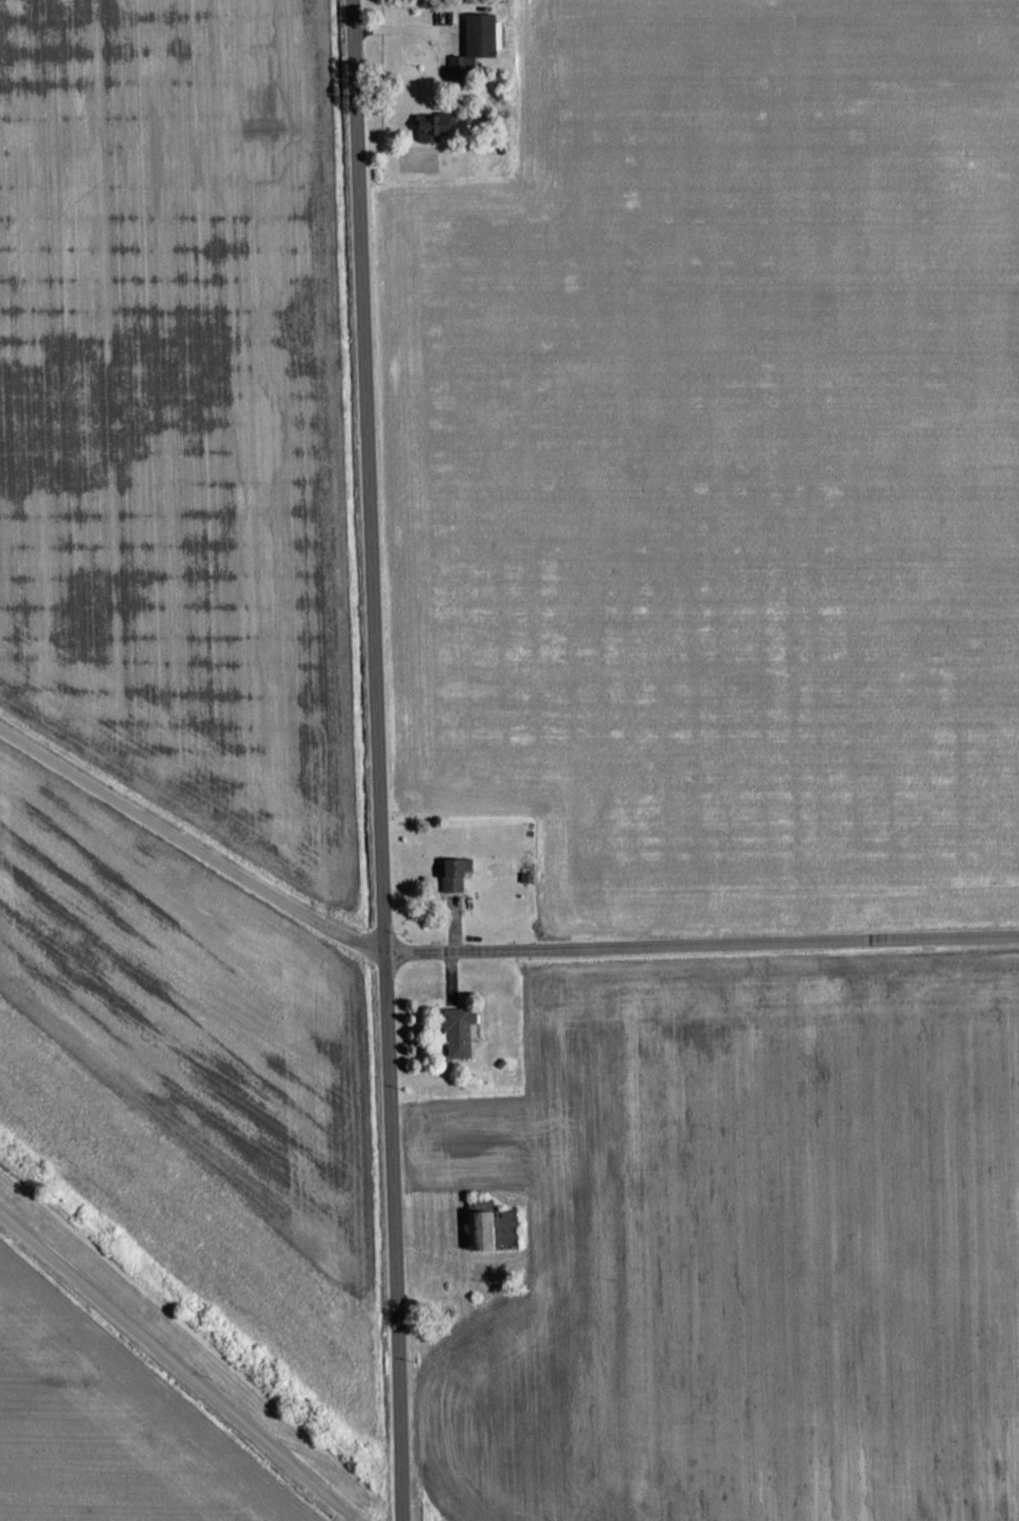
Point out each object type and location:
building: (476, 40)
building: (430, 126)
crop: (174, 409)
crop: (729, 457)
road: (381, 760)
building: (450, 874)
road: (479, 943)
building: (454, 1032)
crop: (191, 1073)
building: (488, 1231)
crop: (745, 1251)
railway: (214, 1333)
road: (179, 1363)
crop: (96, 1434)

